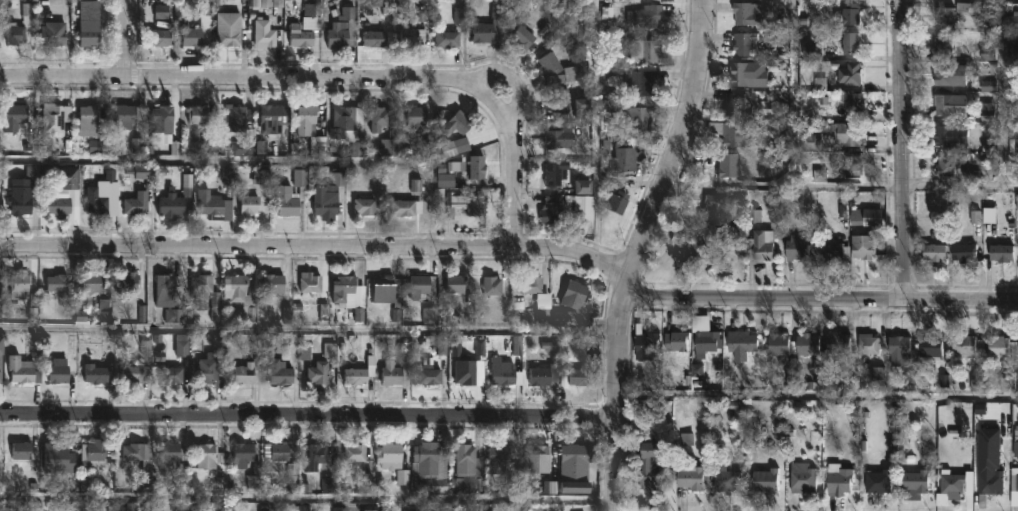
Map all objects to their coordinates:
building: (271, 4)
building: (971, 6)
building: (750, 12)
building: (848, 12)
building: (311, 13)
building: (647, 16)
building: (943, 16)
building: (92, 24)
building: (491, 26)
building: (343, 27)
building: (18, 33)
building: (301, 33)
building: (265, 34)
building: (55, 36)
building: (192, 36)
building: (413, 36)
road: (120, 37)
building: (160, 37)
building: (230, 37)
building: (525, 37)
building: (376, 39)
building: (449, 39)
building: (747, 42)
building: (942, 42)
building: (849, 43)
building: (645, 49)
building: (989, 53)
building: (1015, 53)
building: (552, 68)
building: (847, 72)
building: (746, 73)
building: (946, 73)
road: (248, 76)
road: (510, 80)
building: (642, 82)
road: (800, 94)
building: (562, 100)
building: (852, 102)
building: (942, 103)
building: (738, 104)
building: (586, 109)
building: (199, 114)
building: (640, 115)
building: (14, 116)
building: (419, 116)
building: (271, 117)
building: (56, 118)
building: (122, 119)
building: (237, 119)
building: (343, 119)
building: (90, 120)
building: (309, 120)
building: (381, 120)
building: (161, 121)
building: (460, 123)
building: (731, 133)
building: (948, 135)
building: (832, 137)
building: (559, 138)
road: (679, 143)
building: (1015, 144)
building: (389, 148)
building: (454, 148)
road: (903, 149)
building: (623, 160)
building: (950, 161)
road: (210, 163)
building: (731, 165)
building: (851, 165)
building: (478, 167)
road: (514, 170)
building: (146, 174)
building: (68, 178)
building: (556, 179)
building: (301, 182)
building: (445, 182)
building: (582, 185)
road: (785, 188)
building: (331, 195)
building: (22, 197)
building: (97, 201)
building: (288, 201)
building: (620, 201)
building: (137, 203)
building: (211, 204)
building: (173, 205)
building: (251, 205)
building: (467, 205)
building: (366, 207)
building: (408, 207)
building: (65, 210)
building: (712, 212)
building: (551, 213)
building: (867, 216)
building: (760, 244)
building: (860, 245)
road: (515, 246)
building: (794, 246)
building: (698, 249)
building: (832, 249)
building: (932, 251)
building: (960, 251)
building: (1000, 252)
building: (129, 282)
building: (93, 283)
building: (275, 283)
building: (310, 283)
building: (382, 283)
building: (18, 284)
building: (420, 284)
building: (491, 285)
building: (203, 287)
building: (343, 287)
building: (460, 287)
building: (166, 288)
building: (532, 289)
building: (60, 290)
building: (240, 294)
building: (577, 295)
building: (173, 317)
building: (567, 318)
road: (308, 333)
building: (677, 340)
building: (709, 342)
building: (836, 342)
building: (869, 342)
building: (646, 343)
building: (779, 343)
building: (805, 343)
building: (962, 343)
building: (742, 344)
building: (932, 345)
building: (1001, 346)
building: (897, 348)
building: (181, 350)
building: (0, 351)
building: (21, 371)
building: (57, 371)
building: (211, 372)
building: (282, 372)
building: (1, 373)
building: (320, 373)
building: (392, 373)
building: (504, 373)
building: (94, 374)
building: (135, 374)
building: (170, 374)
building: (246, 374)
building: (355, 375)
building: (431, 375)
building: (467, 375)
building: (544, 375)
building: (581, 377)
building: (678, 377)
road: (616, 394)
road: (817, 401)
road: (308, 417)
building: (23, 450)
building: (134, 451)
building: (285, 452)
building: (94, 454)
building: (170, 454)
building: (356, 454)
building: (542, 454)
building: (208, 455)
building: (245, 455)
building: (319, 457)
building: (392, 457)
building: (501, 457)
building: (60, 459)
building: (469, 462)
building: (651, 465)
building: (433, 467)
building: (579, 469)
building: (692, 474)
building: (800, 477)
building: (729, 479)
building: (761, 479)
building: (876, 480)
building: (835, 481)
building: (1016, 481)
building: (914, 482)
building: (986, 482)
building: (950, 485)
road: (308, 503)

